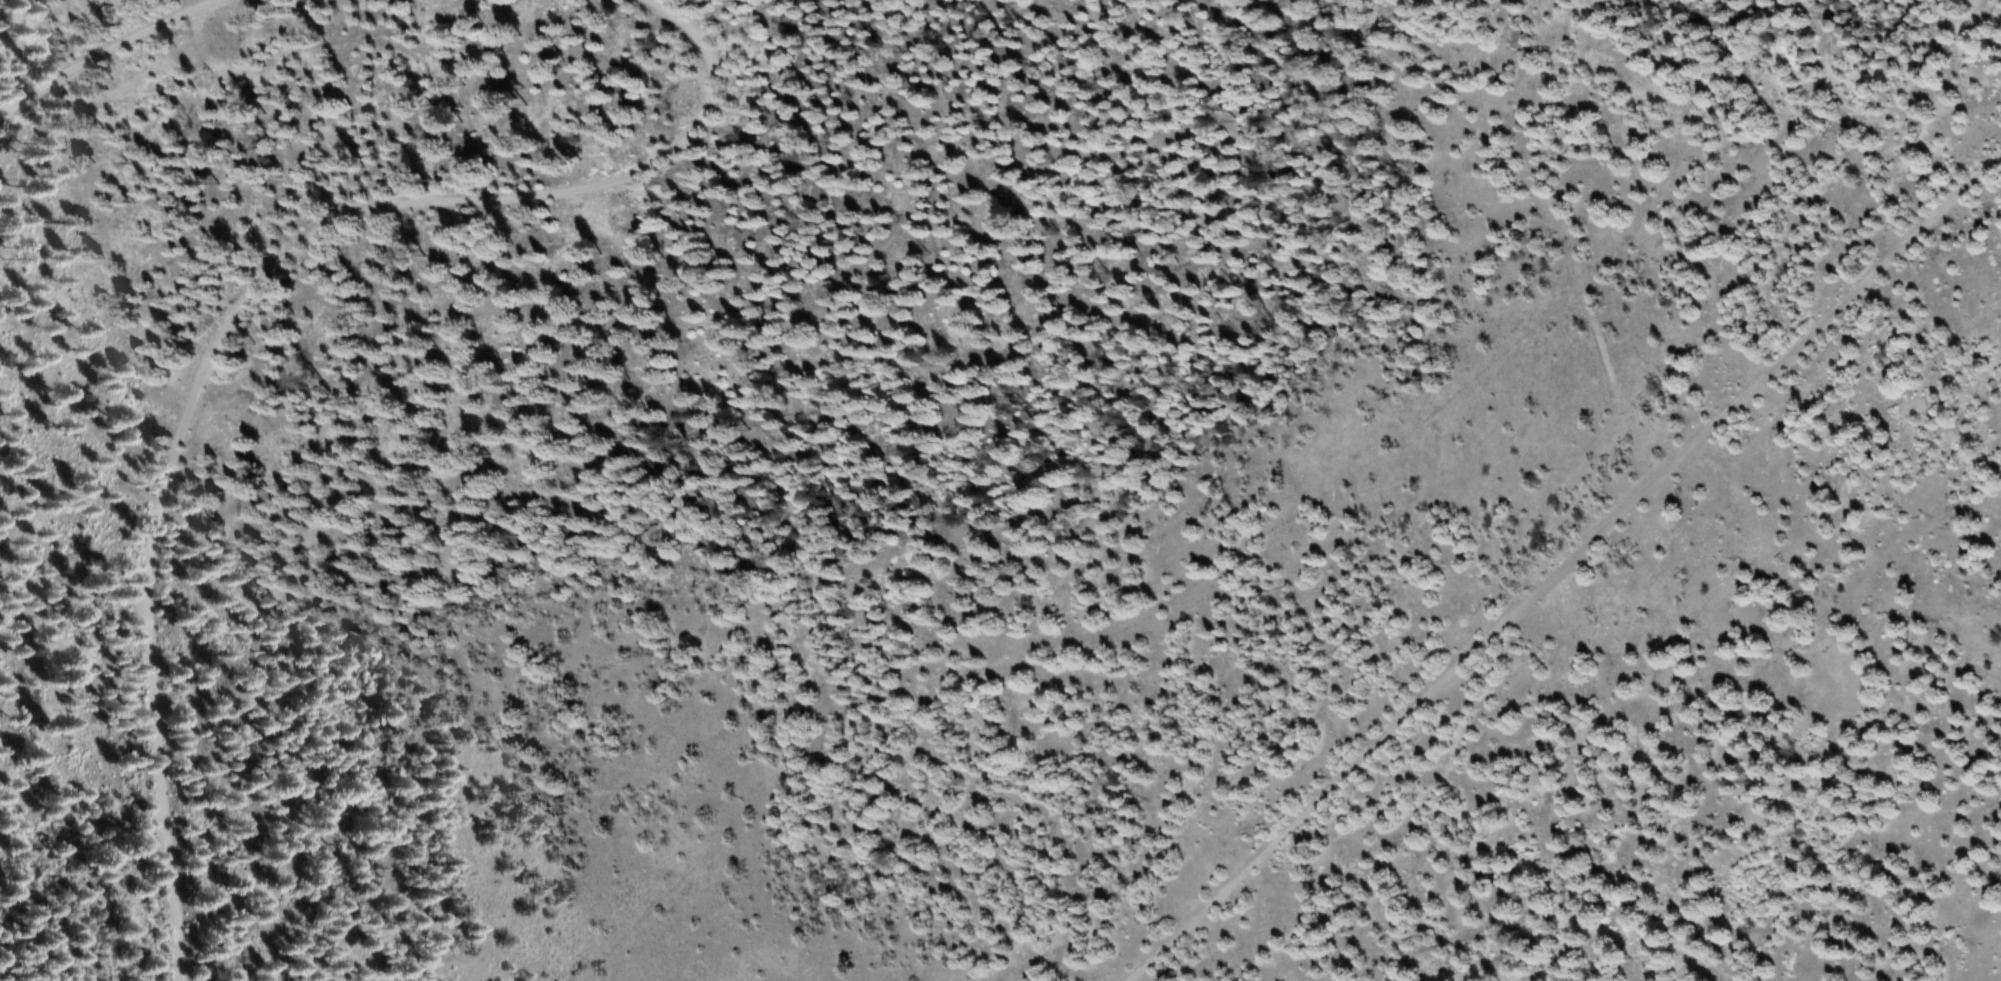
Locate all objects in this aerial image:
road: (107, 53)
road: (241, 313)
road: (1556, 566)

